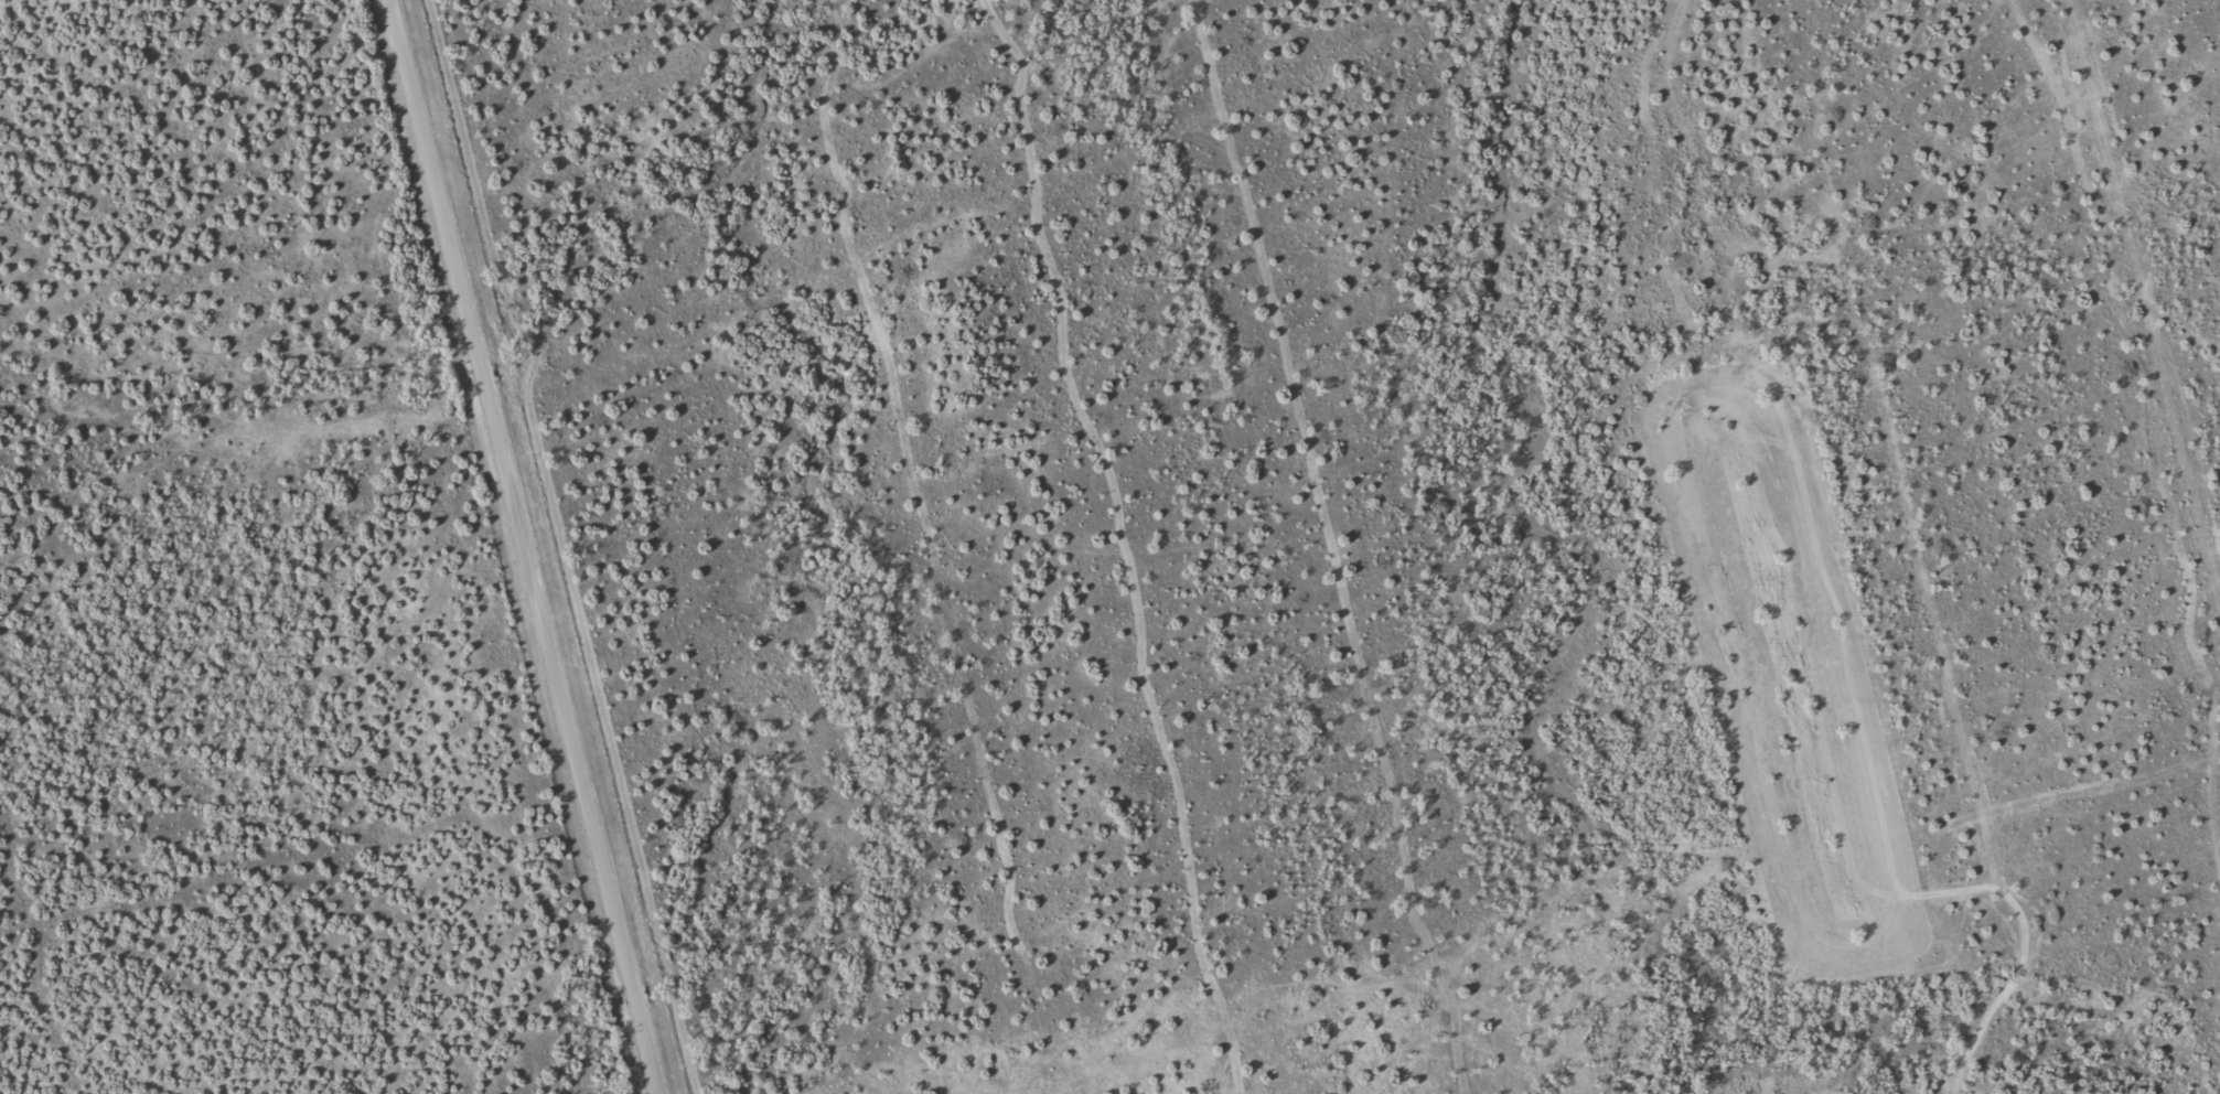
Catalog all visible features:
road: (521, 547)

